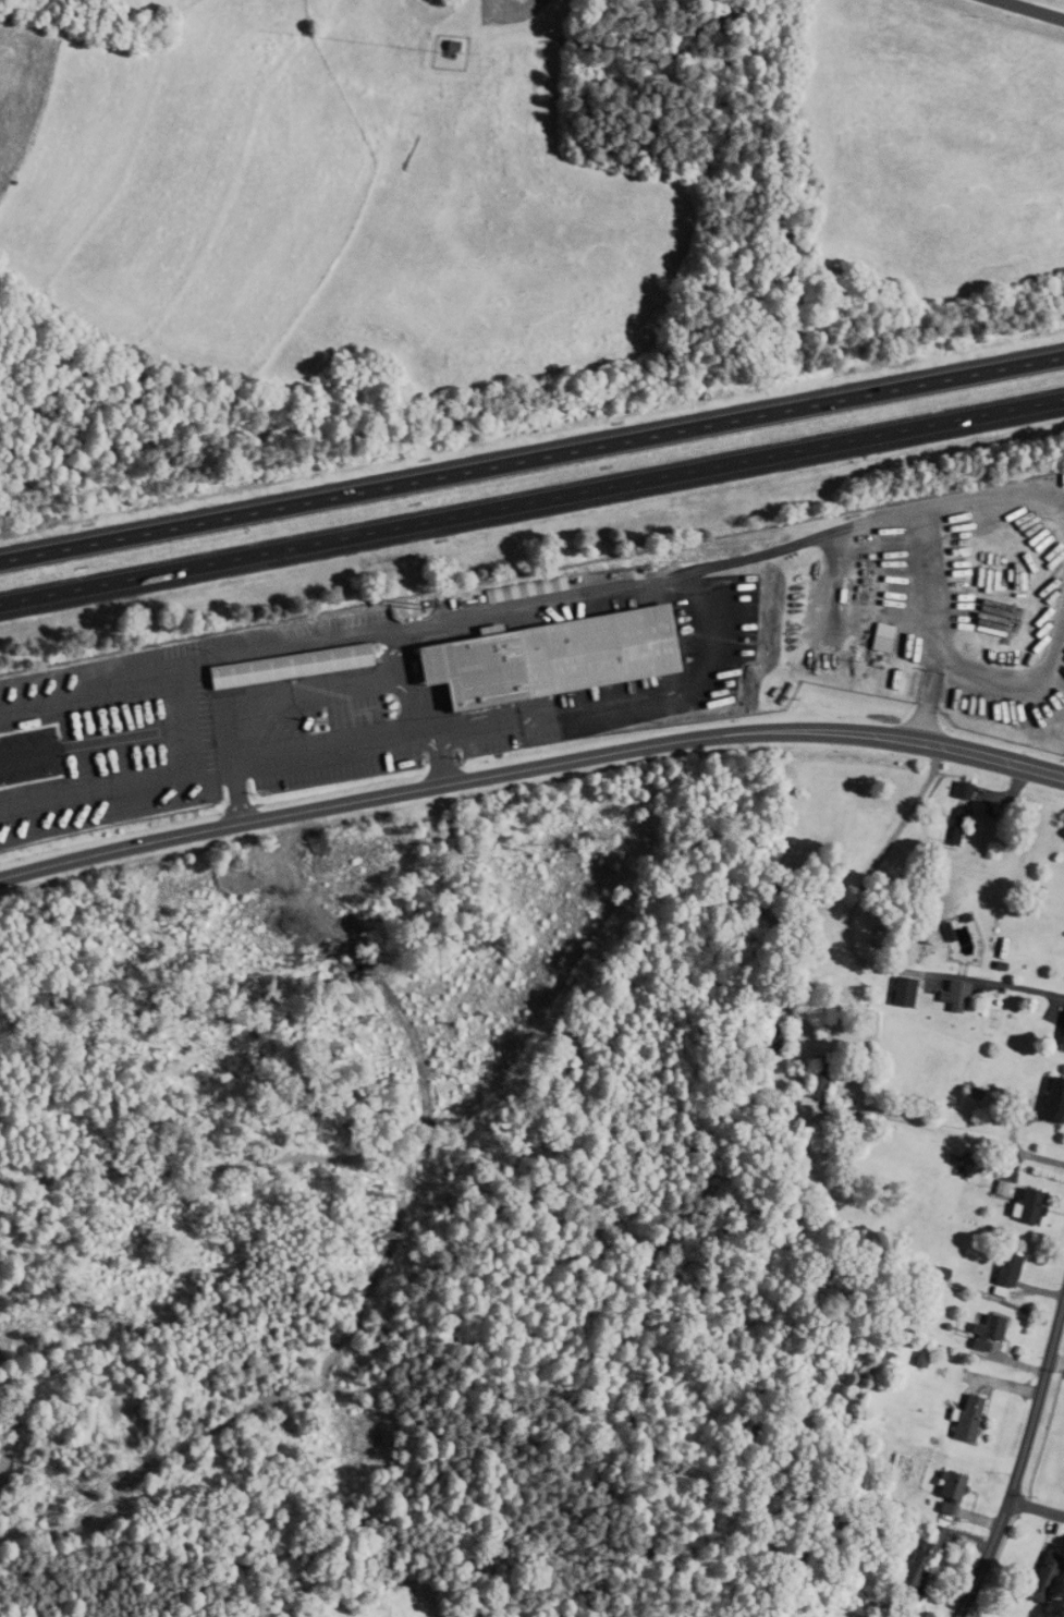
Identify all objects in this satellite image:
road: (1036, 8)
road: (531, 459)
road: (531, 501)
road: (940, 518)
building: (524, 588)
building: (877, 644)
building: (545, 657)
road: (1015, 679)
road: (932, 694)
road: (192, 732)
road: (334, 745)
road: (443, 762)
road: (530, 767)
building: (957, 790)
road: (242, 801)
building: (954, 827)
building: (898, 992)
building: (951, 996)
building: (1060, 1034)
building: (768, 1036)
building: (814, 1080)
building: (1051, 1098)
road: (1019, 1152)
building: (1025, 1205)
building: (1003, 1273)
building: (987, 1328)
road: (1056, 1360)
building: (963, 1417)
road: (1019, 1462)
building: (944, 1492)
road: (1036, 1507)
building: (912, 1561)
building: (1037, 1575)

